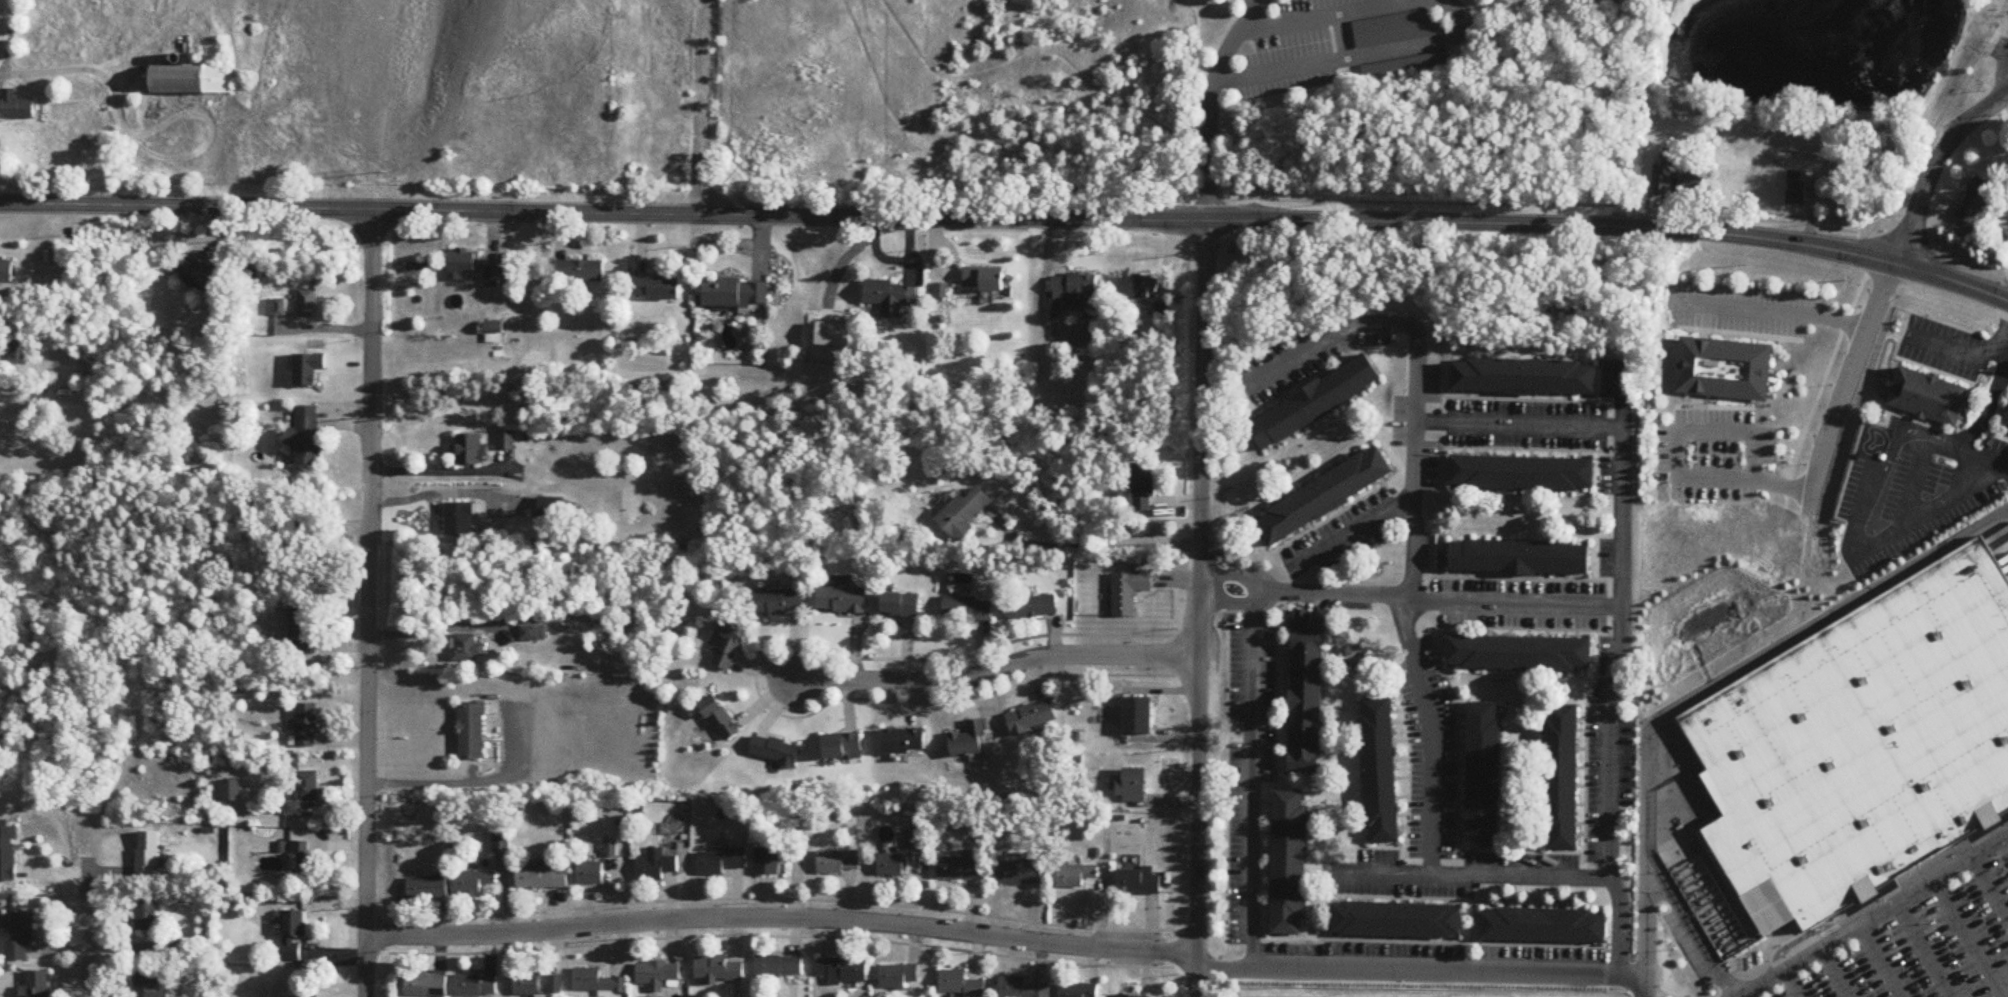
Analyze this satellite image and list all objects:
road: (1315, 15)
building: (1396, 30)
road: (1230, 40)
parking lot: (1999, 50)
road: (1355, 56)
building: (1406, 67)
road: (78, 71)
park: (1832, 76)
road: (2004, 76)
building: (192, 80)
building: (16, 107)
road: (701, 108)
road: (1206, 152)
road: (1935, 166)
building: (1663, 177)
building: (1691, 182)
building: (1797, 188)
building: (1976, 200)
road: (1008, 219)
building: (464, 261)
building: (7, 271)
building: (580, 271)
building: (204, 276)
building: (494, 276)
building: (1145, 287)
building: (657, 288)
building: (1074, 290)
building: (736, 293)
building: (891, 297)
building: (307, 304)
building: (276, 309)
road: (1781, 310)
building: (494, 334)
road: (1956, 347)
building: (18, 352)
road: (1416, 369)
building: (1726, 370)
building: (1525, 377)
road: (1843, 387)
road: (1992, 389)
building: (1929, 397)
building: (1316, 403)
building: (2006, 424)
building: (303, 440)
building: (506, 442)
building: (471, 451)
road: (1970, 459)
road: (1673, 463)
road: (1886, 464)
building: (1523, 474)
building: (1143, 488)
building: (1324, 496)
building: (552, 509)
building: (964, 513)
road: (1927, 513)
building: (460, 520)
road: (1350, 533)
road: (1093, 548)
building: (1521, 558)
road: (1230, 577)
building: (1129, 592)
road: (1622, 600)
building: (842, 601)
road: (367, 603)
building: (779, 603)
road: (1436, 603)
road: (1229, 604)
building: (901, 606)
building: (1032, 606)
road: (1199, 609)
building: (967, 610)
road: (434, 627)
building: (303, 632)
building: (534, 632)
building: (729, 646)
building: (469, 650)
building: (1520, 654)
road: (996, 670)
building: (1306, 694)
road: (1702, 694)
building: (1136, 717)
building: (720, 719)
building: (1033, 719)
building: (308, 726)
building: (472, 732)
road: (1432, 734)
building: (905, 741)
building: (971, 742)
building: (1862, 746)
building: (843, 748)
building: (775, 751)
building: (1380, 772)
building: (1484, 776)
building: (1562, 778)
road: (463, 782)
road: (1252, 782)
building: (1133, 789)
building: (231, 791)
building: (305, 792)
road: (2001, 819)
road: (1998, 831)
building: (8, 855)
building: (721, 861)
building: (303, 862)
building: (767, 863)
building: (838, 863)
building: (1289, 863)
building: (658, 865)
building: (891, 866)
building: (960, 867)
building: (590, 874)
building: (1020, 874)
building: (1076, 877)
road: (1465, 877)
building: (540, 878)
building: (1138, 883)
building: (473, 884)
road: (1990, 888)
building: (427, 890)
building: (1709, 905)
road: (1875, 905)
building: (147, 917)
road: (1875, 918)
road: (780, 919)
building: (1398, 921)
road: (1646, 923)
building: (1544, 927)
building: (295, 936)
building: (22, 937)
road: (1969, 939)
road: (89, 946)
building: (165, 950)
road: (1797, 951)
road: (1924, 951)
road: (1880, 962)
building: (778, 968)
road: (1777, 969)
building: (719, 971)
building: (843, 972)
road: (1836, 973)
road: (1421, 974)
building: (658, 976)
building: (897, 977)
road: (1657, 982)
building: (596, 983)
road: (1791, 984)
building: (37, 985)
building: (147, 985)
building: (528, 985)
building: (959, 985)
building: (426, 986)
building: (476, 986)
building: (556, 986)
building: (1020, 989)
building: (1078, 990)
building: (308, 996)
building: (1125, 996)
road: (1664, 996)
road: (1747, 996)

